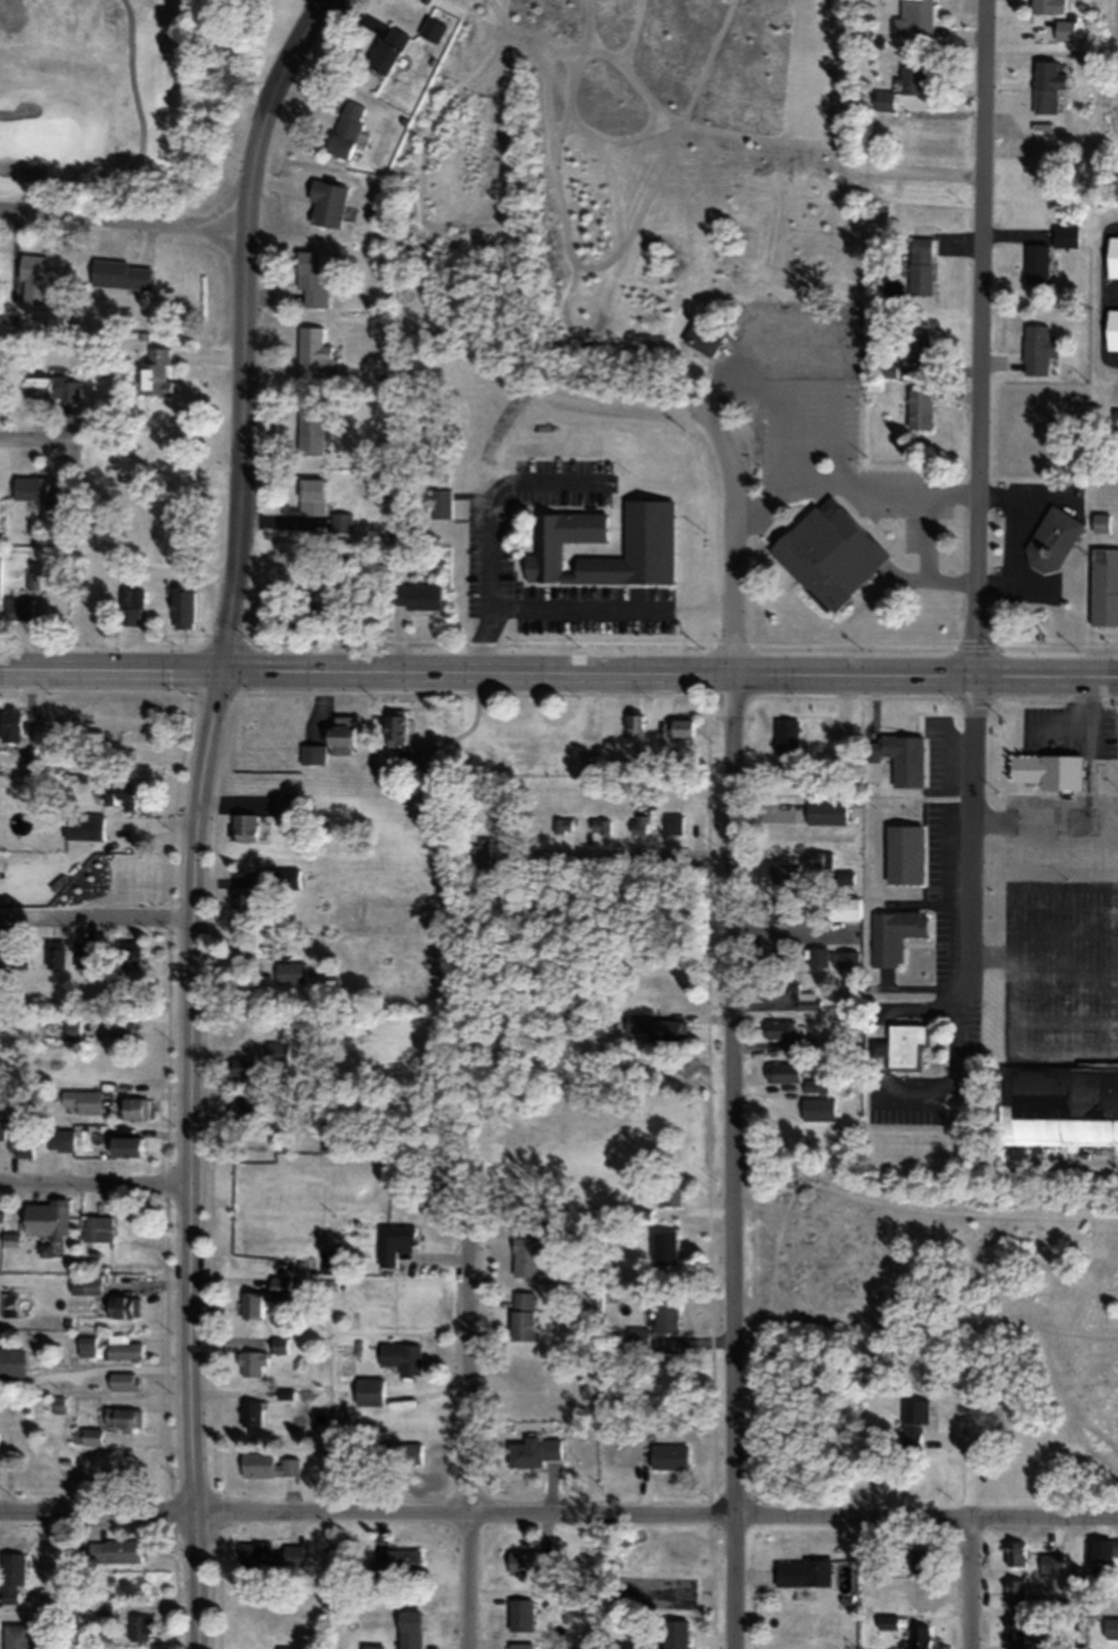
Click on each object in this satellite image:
building: (1046, 6)
building: (915, 20)
building: (432, 30)
building: (1064, 30)
building: (387, 50)
building: (914, 77)
building: (1046, 85)
building: (884, 101)
park: (119, 103)
building: (347, 128)
park: (43, 137)
building: (327, 203)
road: (124, 218)
building: (1064, 235)
building: (1111, 256)
building: (1035, 263)
building: (920, 264)
building: (123, 274)
building: (42, 275)
building: (312, 277)
road: (244, 327)
building: (1111, 328)
building: (917, 345)
building: (1037, 348)
building: (317, 353)
building: (156, 371)
building: (42, 387)
building: (0, 389)
building: (918, 406)
building: (312, 427)
road: (41, 446)
road: (856, 479)
building: (42, 491)
building: (313, 495)
building: (440, 501)
road: (979, 501)
building: (342, 521)
building: (1100, 521)
road: (735, 536)
building: (189, 538)
building: (833, 538)
building: (647, 539)
building: (1052, 539)
building: (1104, 585)
building: (414, 595)
building: (130, 605)
building: (20, 606)
building: (182, 606)
building: (294, 610)
road: (559, 669)
building: (10, 723)
building: (394, 726)
building: (633, 727)
building: (681, 727)
building: (787, 734)
building: (330, 741)
building: (424, 755)
building: (28, 757)
building: (904, 758)
building: (587, 764)
building: (1045, 770)
building: (785, 771)
building: (101, 811)
building: (825, 812)
building: (502, 816)
building: (639, 823)
building: (562, 824)
building: (674, 824)
building: (600, 825)
building: (243, 826)
building: (477, 853)
building: (903, 854)
road: (621, 856)
building: (815, 859)
building: (784, 871)
building: (845, 877)
building: (289, 878)
building: (243, 897)
building: (843, 907)
building: (812, 908)
building: (781, 910)
road: (96, 916)
building: (893, 934)
building: (243, 949)
building: (55, 953)
building: (85, 953)
building: (18, 954)
building: (130, 955)
building: (831, 958)
building: (291, 971)
building: (790, 994)
building: (655, 1026)
building: (72, 1027)
building: (783, 1030)
building: (120, 1032)
building: (904, 1043)
building: (278, 1051)
building: (243, 1066)
building: (782, 1071)
building: (82, 1100)
building: (241, 1100)
building: (1058, 1104)
building: (134, 1107)
building: (2, 1130)
building: (60, 1139)
building: (21, 1141)
building: (125, 1145)
road: (193, 1158)
road: (734, 1160)
road: (96, 1181)
building: (667, 1195)
building: (46, 1218)
building: (98, 1228)
building: (394, 1241)
building: (662, 1247)
building: (524, 1256)
building: (86, 1283)
building: (281, 1286)
building: (253, 1304)
building: (125, 1306)
building: (665, 1311)
building: (521, 1315)
building: (636, 1338)
building: (281, 1344)
building: (110, 1347)
building: (401, 1356)
building: (12, 1361)
building: (251, 1362)
building: (124, 1381)
building: (369, 1391)
building: (252, 1413)
building: (123, 1416)
building: (911, 1420)
building: (86, 1435)
road: (470, 1440)
building: (532, 1450)
building: (397, 1454)
building: (667, 1455)
building: (266, 1465)
road: (559, 1509)
road: (971, 1542)
building: (1108, 1545)
building: (114, 1550)
building: (1014, 1553)
building: (268, 1555)
building: (528, 1561)
building: (1052, 1563)
building: (395, 1564)
building: (802, 1572)
building: (11, 1576)
building: (1014, 1590)
building: (656, 1592)
building: (919, 1598)
building: (103, 1606)
building: (519, 1614)
building: (887, 1621)
building: (138, 1626)
building: (1110, 1628)
building: (409, 1629)
building: (1014, 1629)
building: (675, 1634)
building: (14, 1636)
building: (920, 1637)
building: (519, 1645)
building: (370, 1646)

